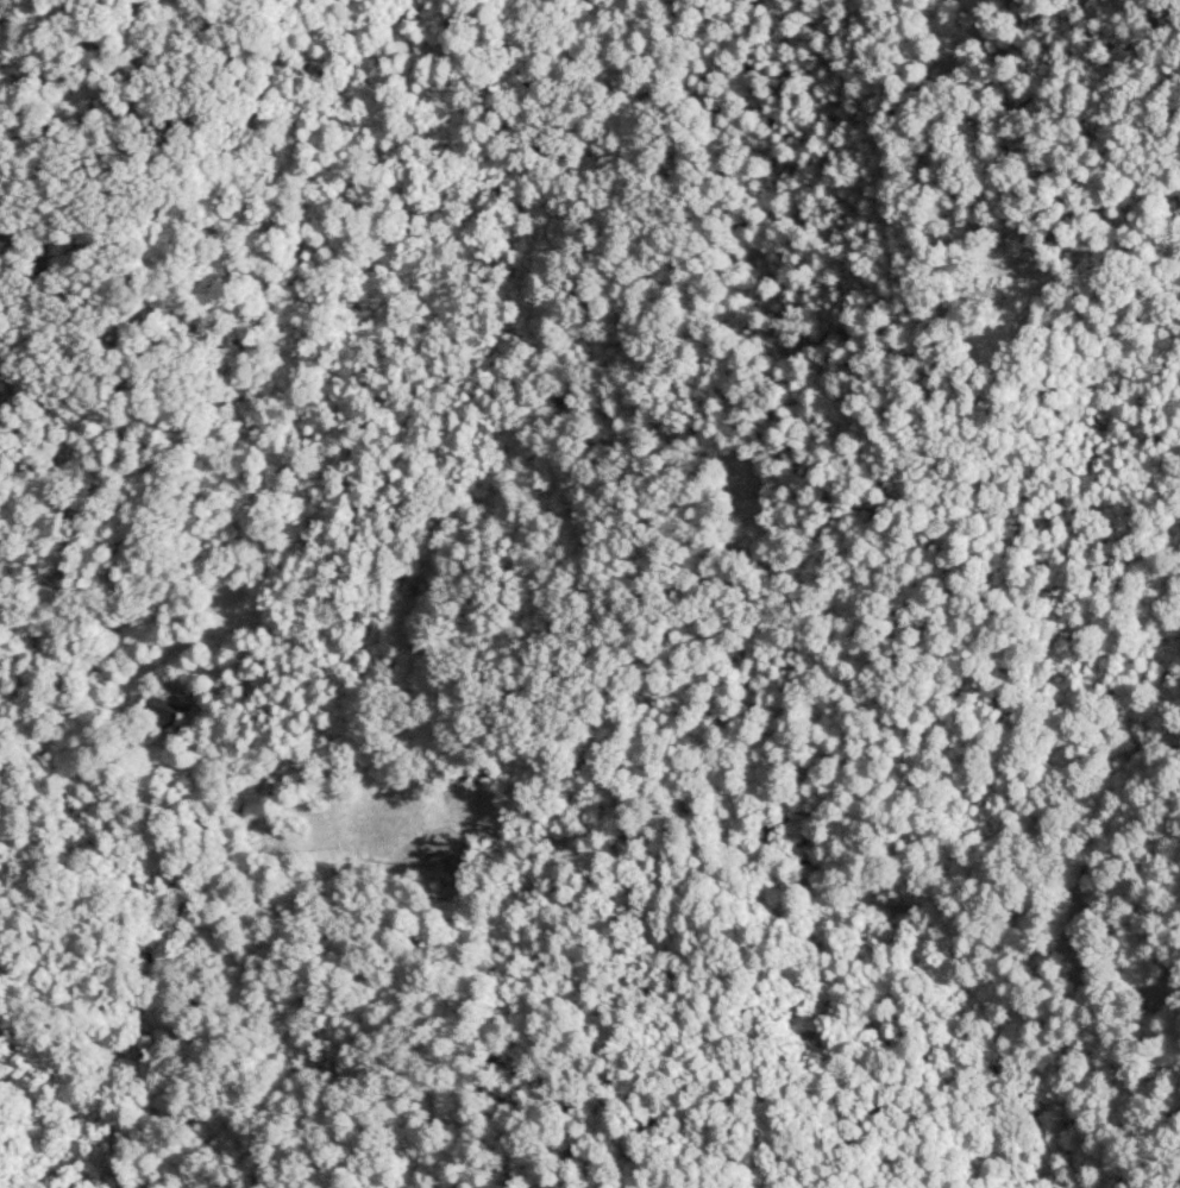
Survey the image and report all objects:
building: (162, 703)

